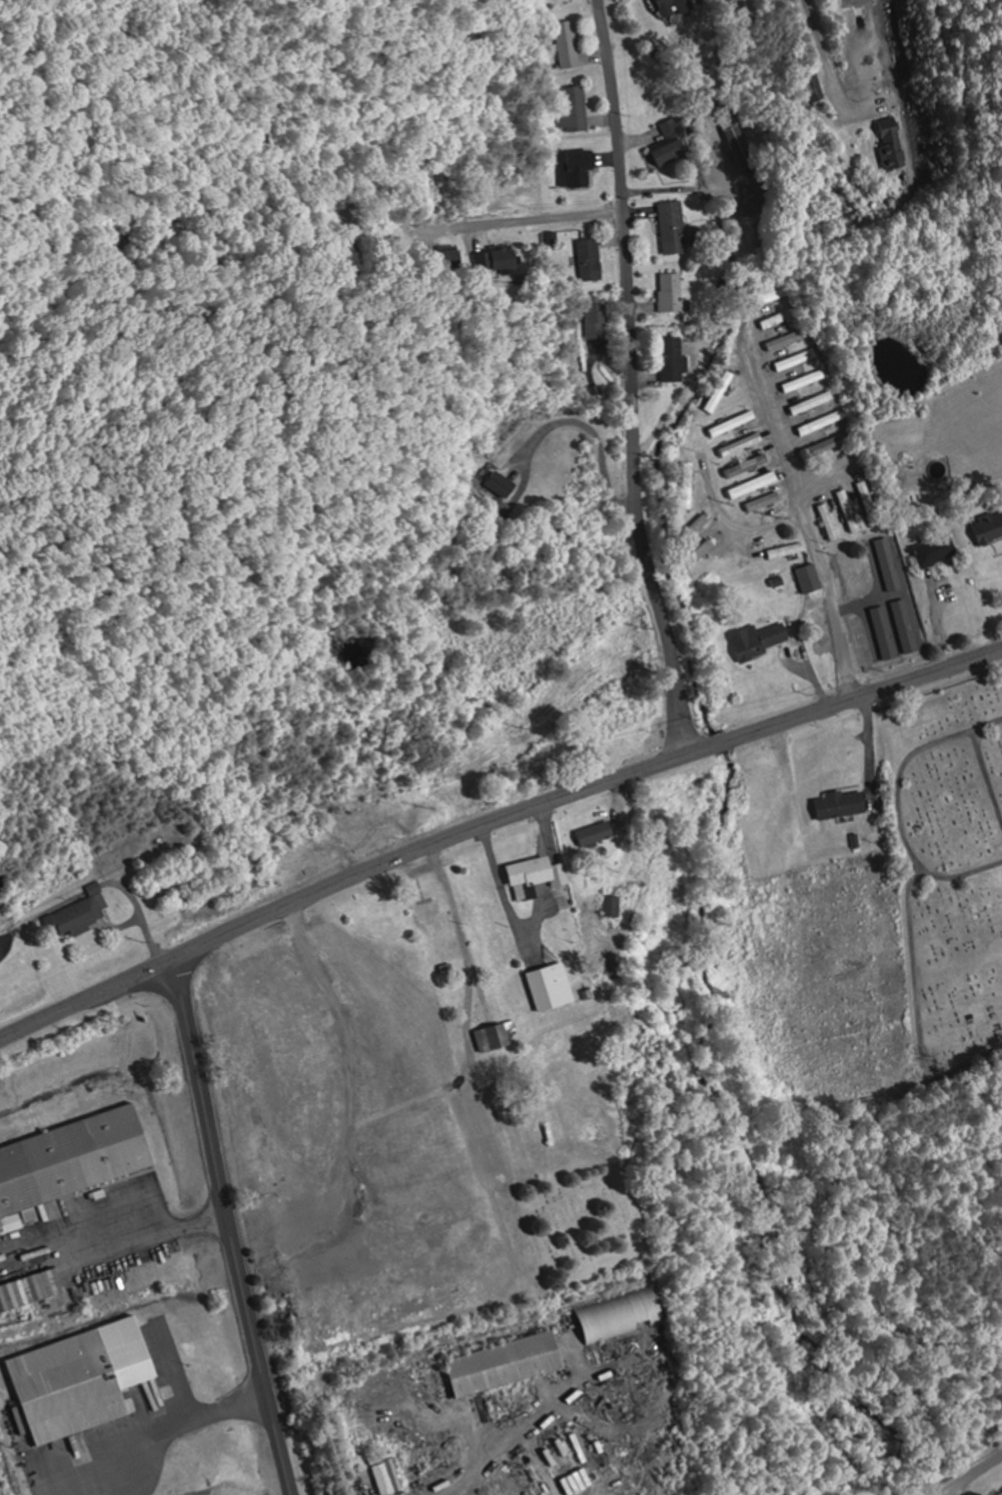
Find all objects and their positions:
building: (859, 3)
building: (674, 7)
building: (568, 40)
road: (819, 48)
building: (813, 87)
building: (576, 109)
building: (894, 143)
building: (671, 145)
building: (578, 169)
building: (674, 228)
building: (451, 255)
building: (496, 258)
building: (591, 259)
building: (675, 292)
building: (775, 296)
building: (781, 319)
building: (597, 320)
building: (790, 339)
building: (673, 358)
building: (798, 359)
road: (633, 379)
building: (806, 381)
building: (814, 402)
road: (765, 404)
building: (734, 423)
building: (823, 423)
building: (830, 444)
building: (749, 465)
road: (817, 471)
building: (503, 482)
building: (755, 484)
building: (871, 502)
building: (851, 510)
road: (731, 519)
building: (832, 521)
building: (989, 526)
building: (697, 527)
building: (788, 550)
building: (938, 550)
building: (700, 554)
building: (813, 578)
road: (836, 601)
building: (762, 639)
road: (903, 759)
road: (987, 768)
building: (843, 804)
road: (492, 822)
building: (597, 833)
road: (961, 868)
park: (948, 874)
building: (543, 879)
building: (614, 907)
building: (81, 914)
building: (431, 914)
building: (446, 954)
building: (551, 987)
road: (919, 1004)
building: (494, 1037)
building: (70, 1163)
park: (594, 1226)
road: (229, 1227)
building: (617, 1317)
building: (507, 1364)
building: (69, 1387)
building: (392, 1472)
road: (969, 1475)
building: (1001, 1494)

